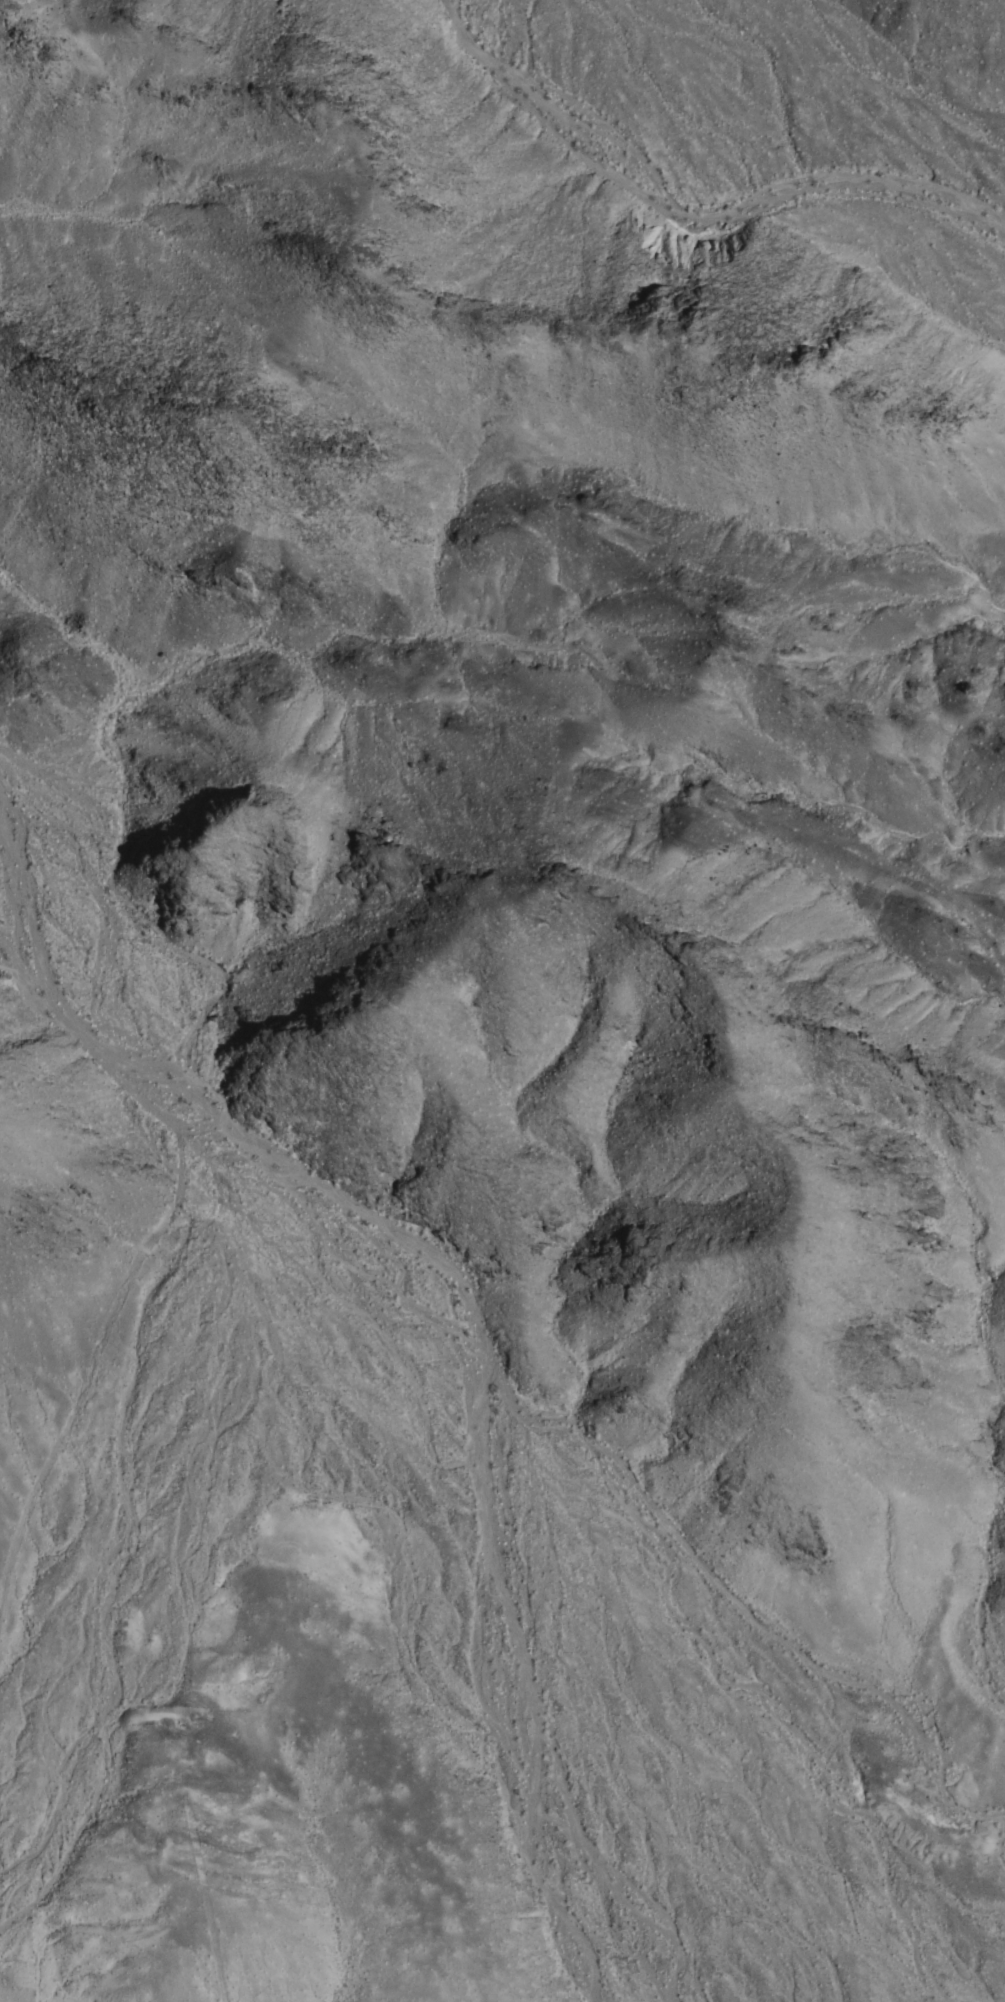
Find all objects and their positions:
road: (995, 1824)

